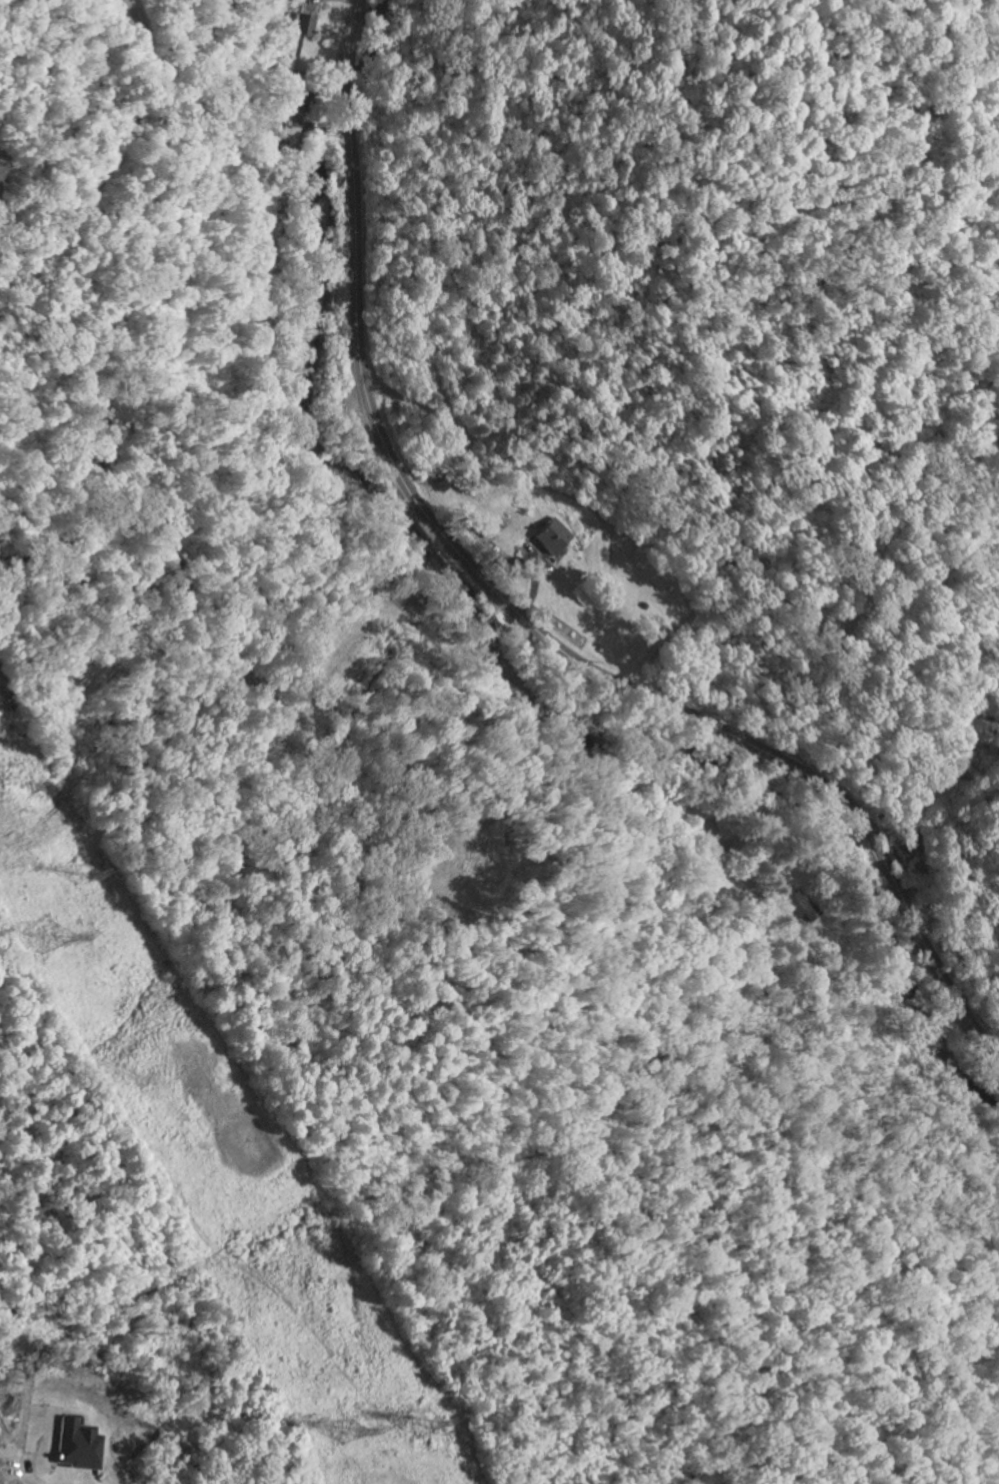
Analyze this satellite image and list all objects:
road: (141, 39)
road: (121, 142)
building: (554, 535)
road: (524, 619)
building: (910, 847)
power tower: (82, 876)
power tower: (43, 937)
power tower: (425, 1423)
building: (50, 1429)
power tower: (346, 1431)
building: (76, 1445)
road: (28, 1464)

